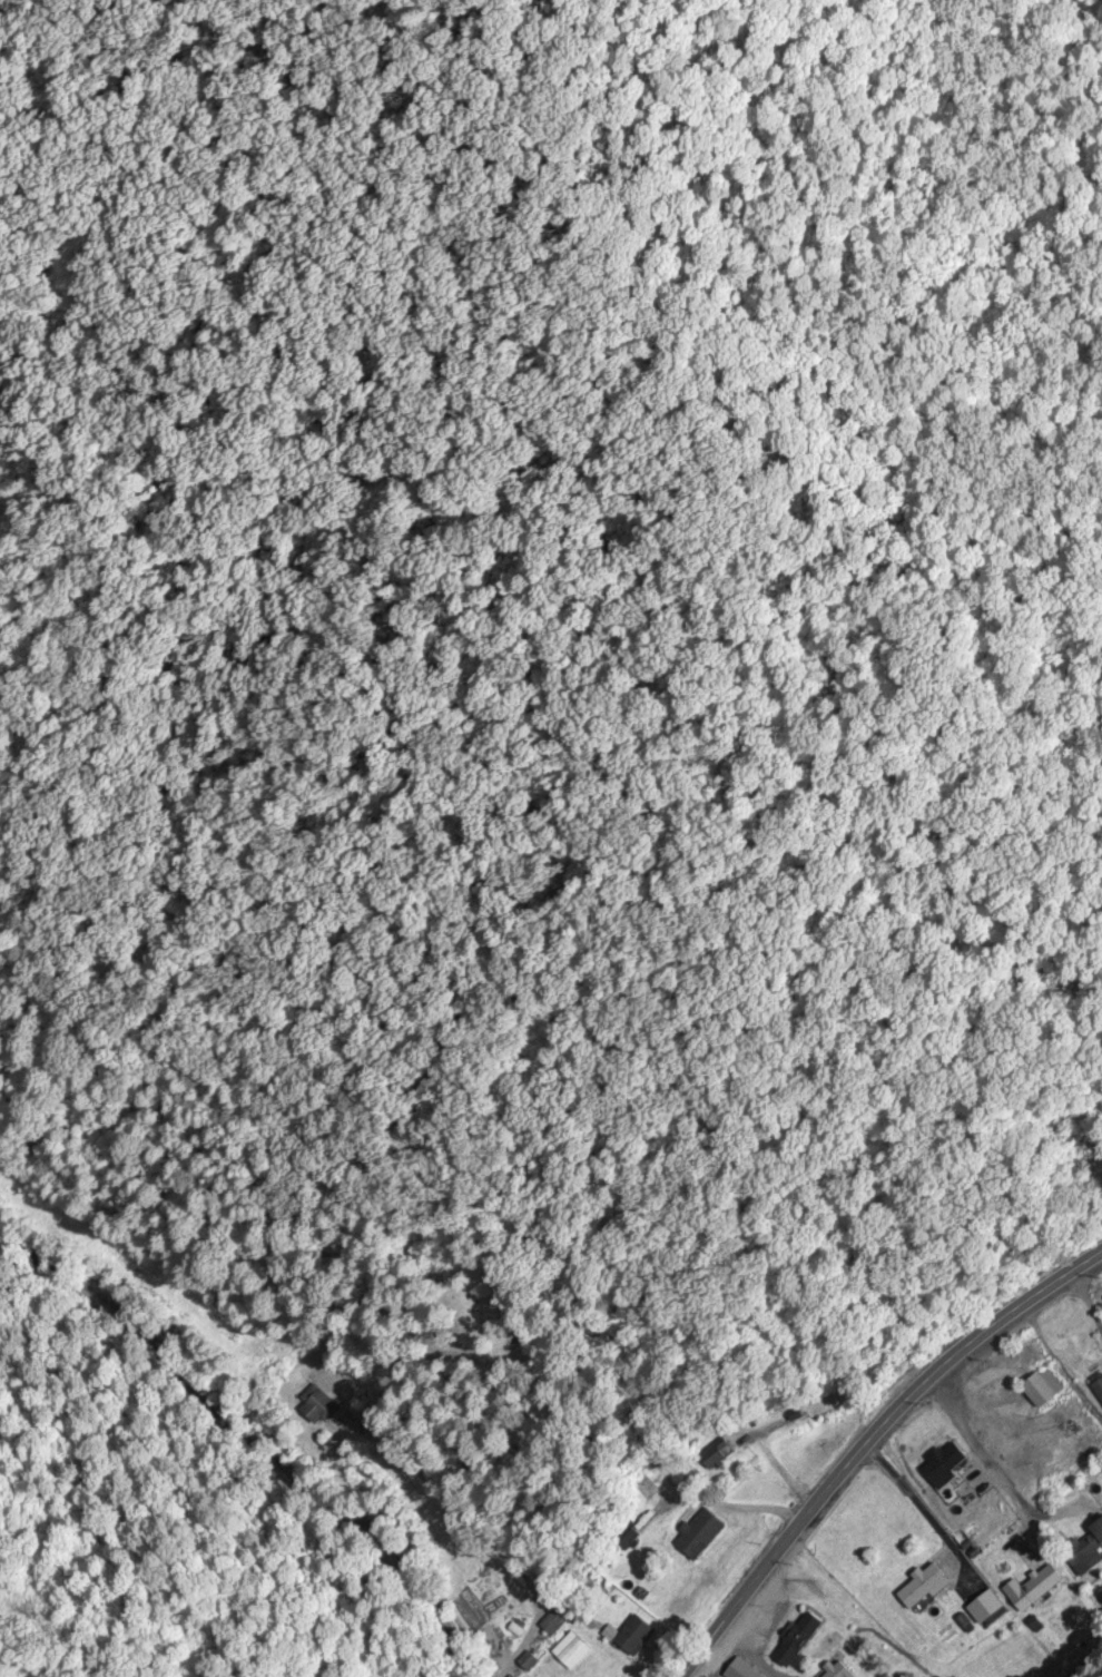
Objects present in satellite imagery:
building: (1043, 1389)
building: (321, 1409)
road: (250, 1440)
road: (870, 1441)
building: (945, 1464)
building: (702, 1532)
building: (1086, 1551)
building: (924, 1587)
building: (1034, 1588)
building: (553, 1624)
building: (631, 1637)
building: (799, 1640)
building: (744, 1670)
building: (836, 1670)

